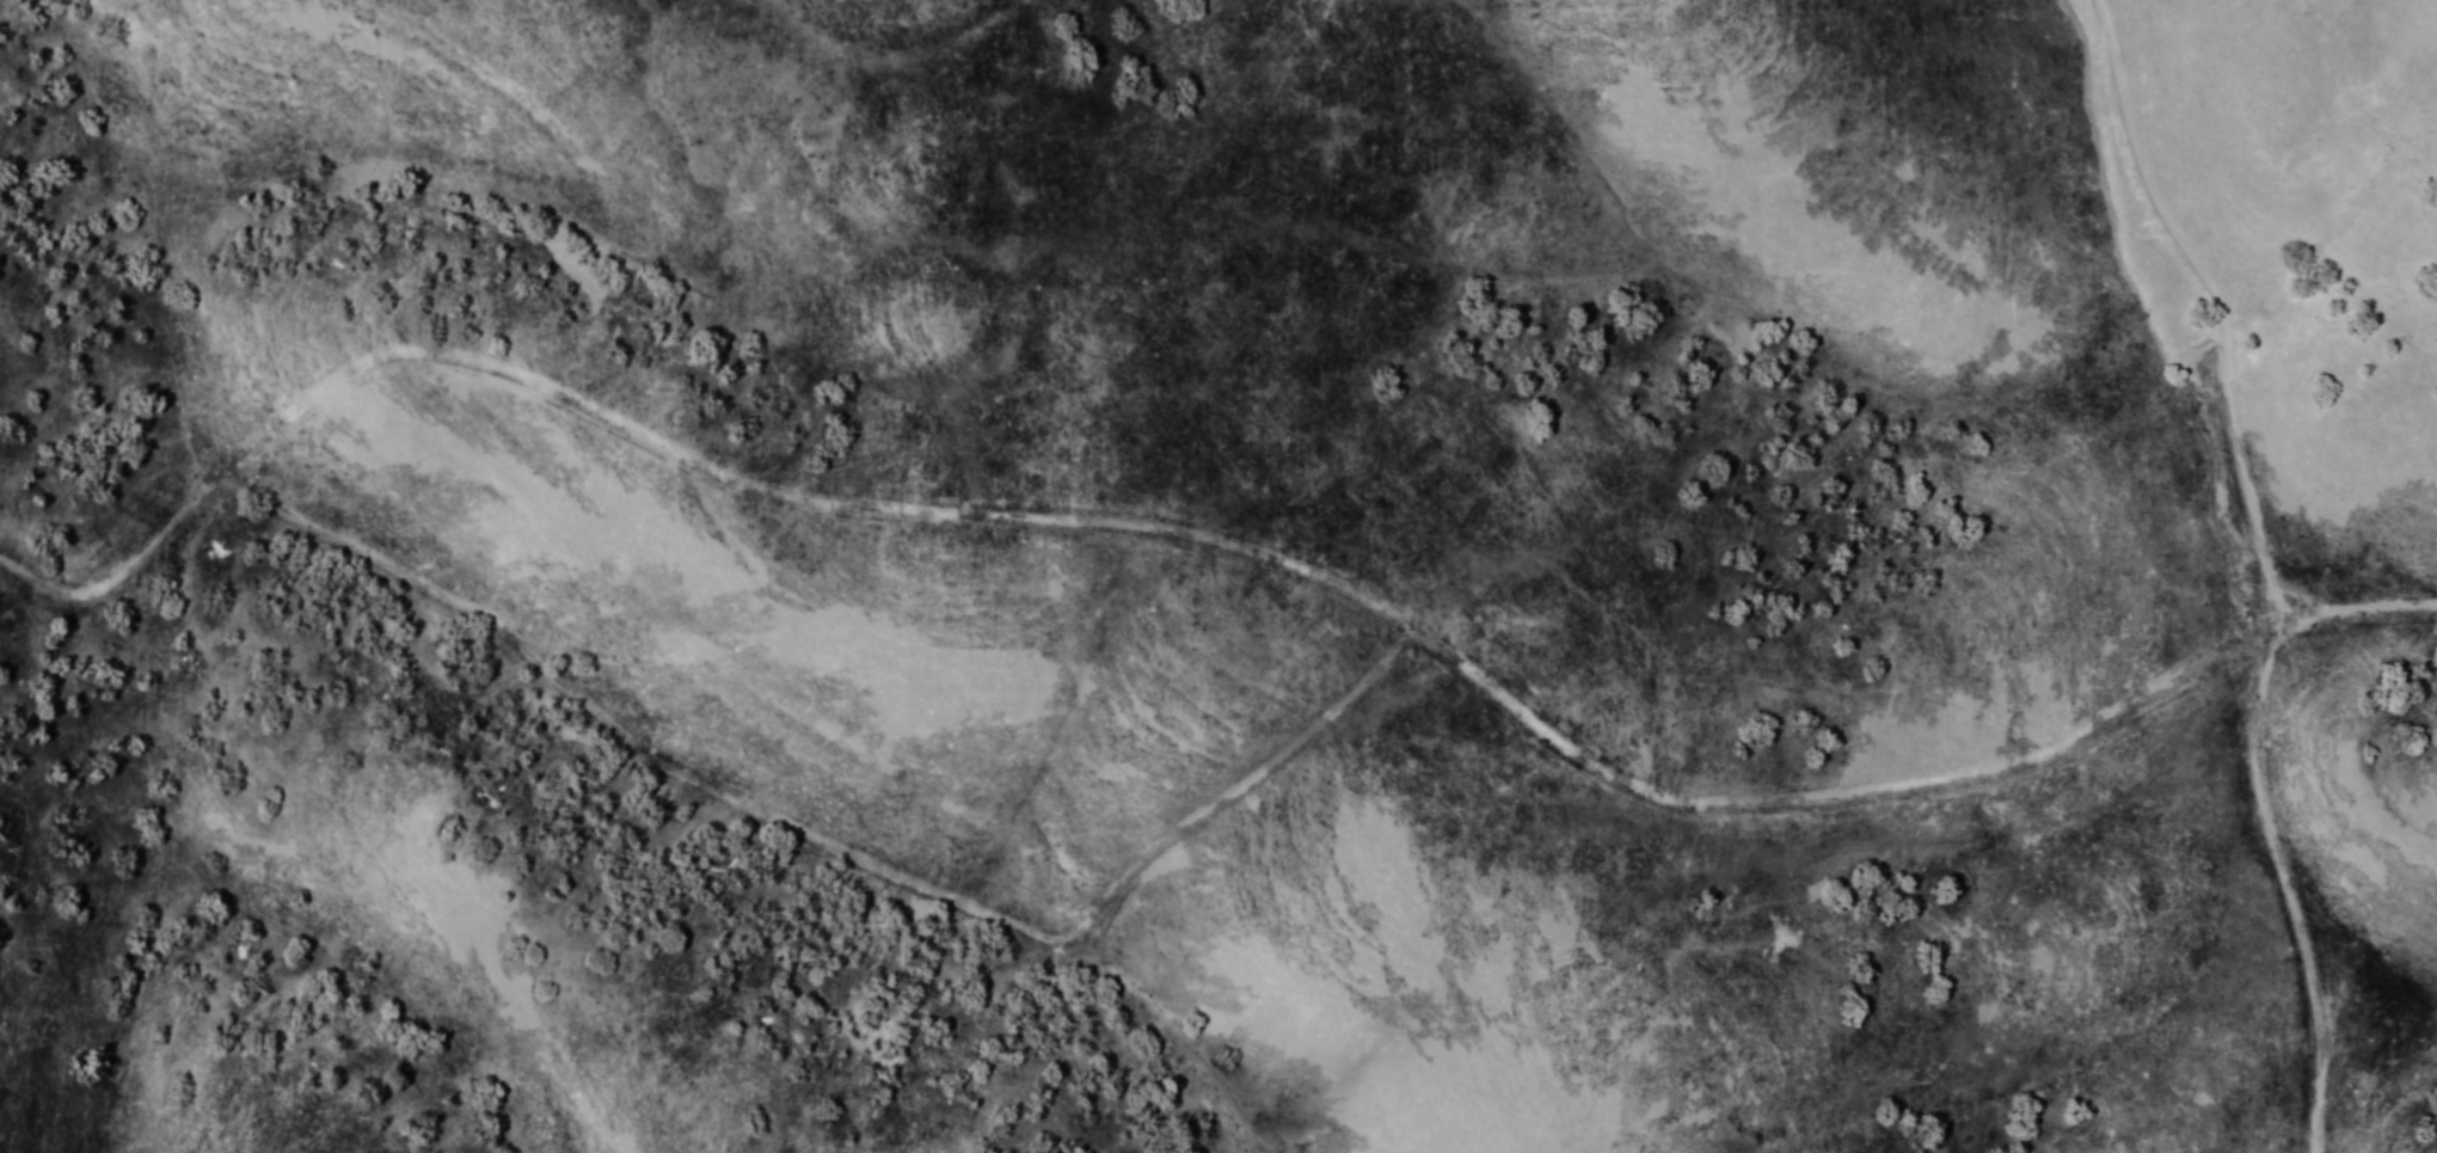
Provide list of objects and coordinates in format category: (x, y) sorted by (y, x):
road: (2251, 564)
road: (2351, 605)
road: (374, 787)
road: (1834, 876)

